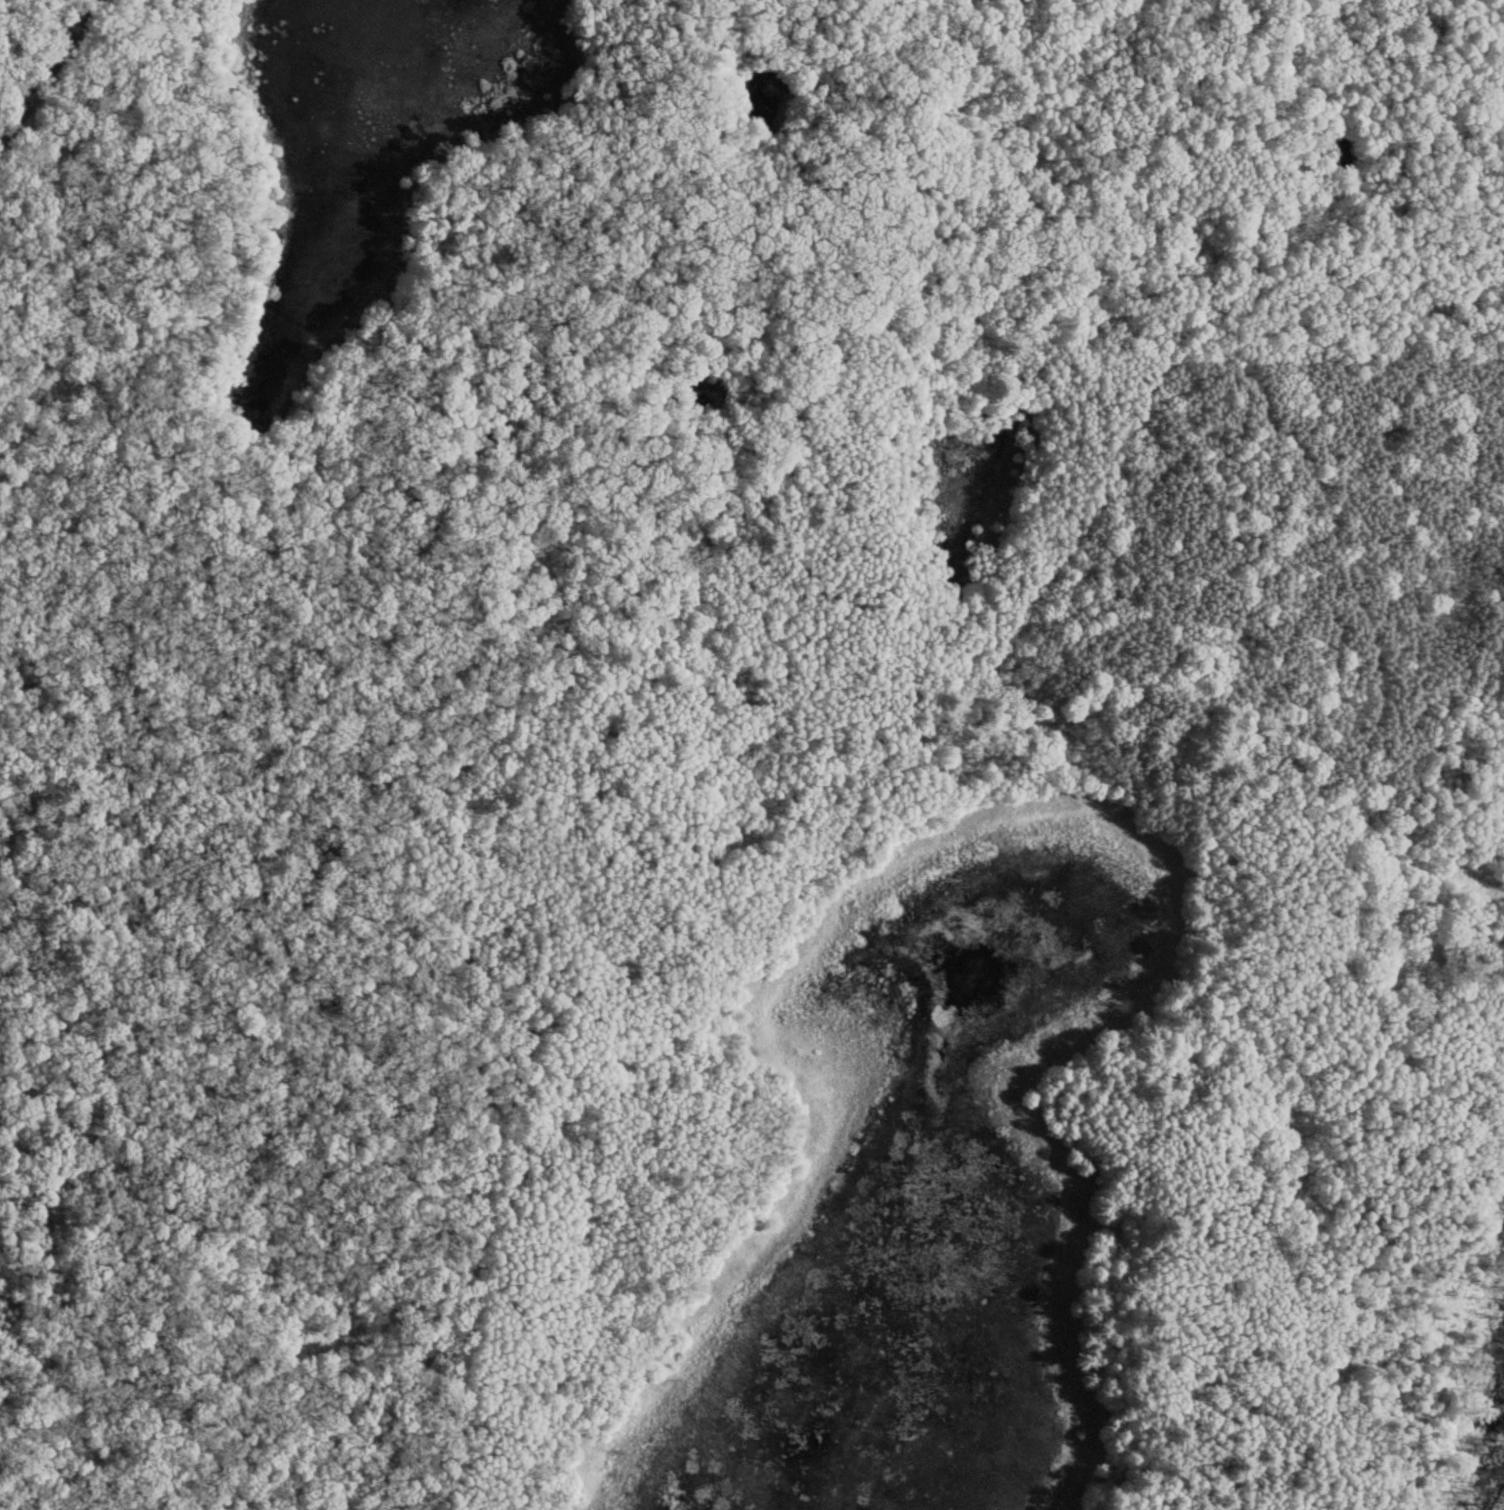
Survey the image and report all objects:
road: (45, 68)
road: (466, 699)

